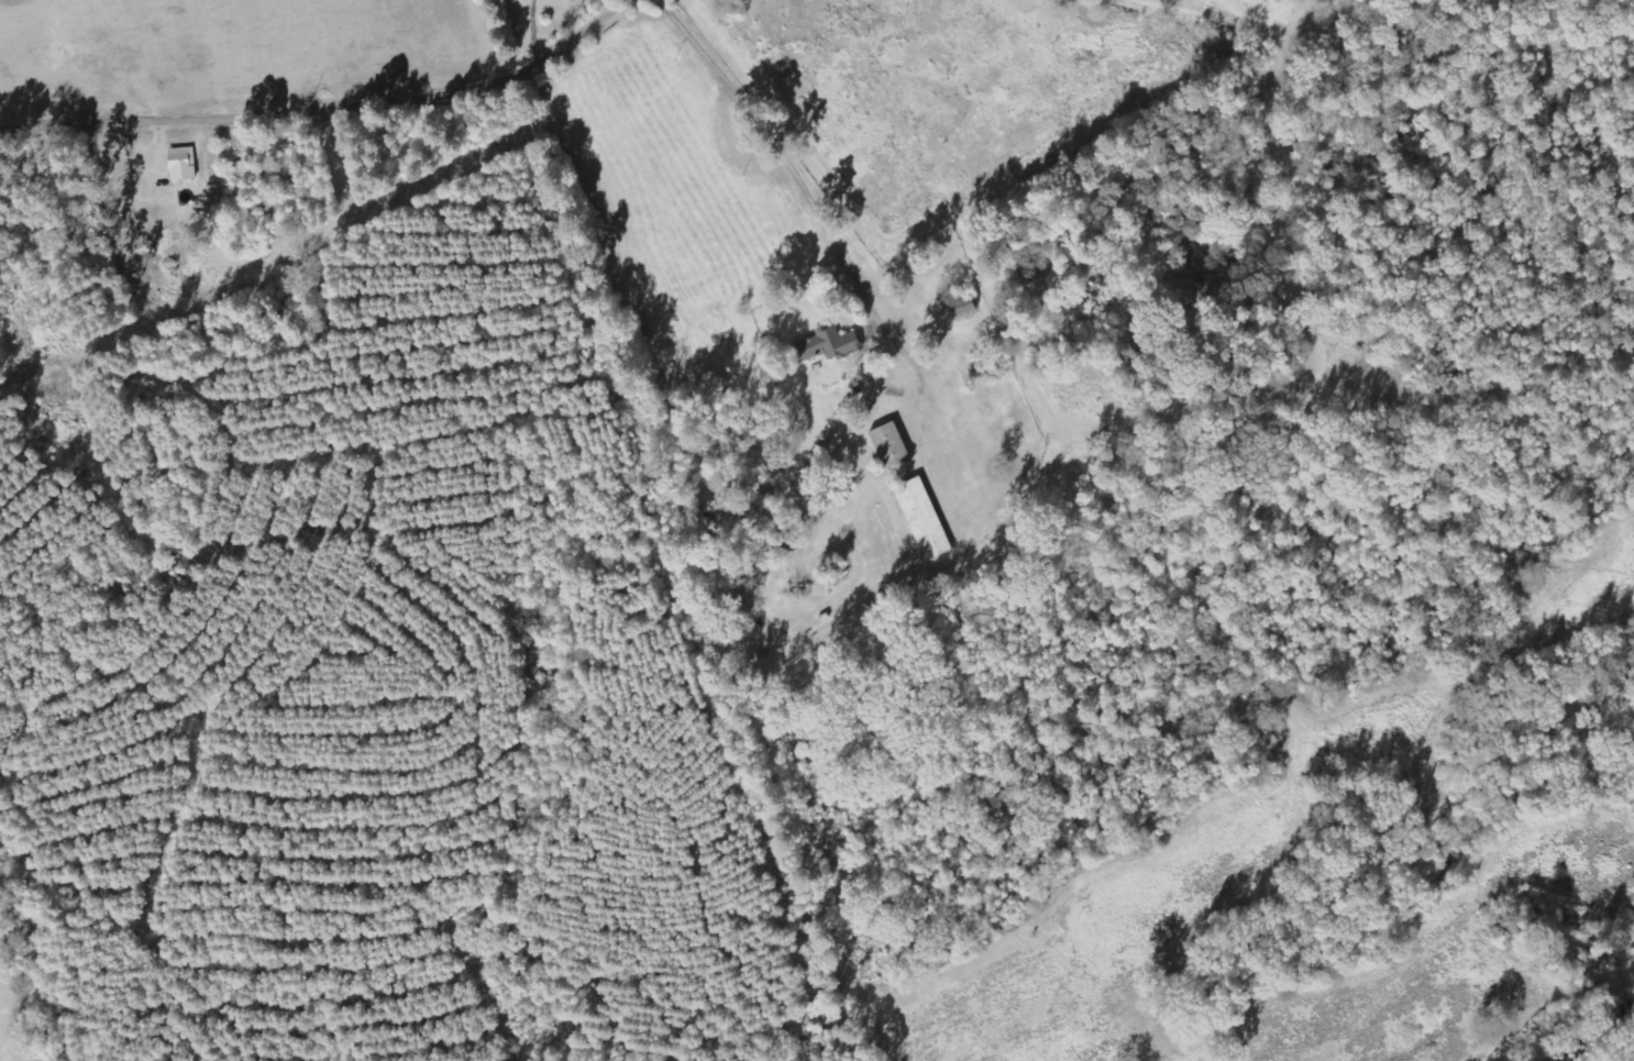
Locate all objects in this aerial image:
road: (284, 75)
road: (766, 143)
building: (181, 163)
building: (962, 306)
building: (825, 344)
building: (887, 443)
building: (921, 518)

